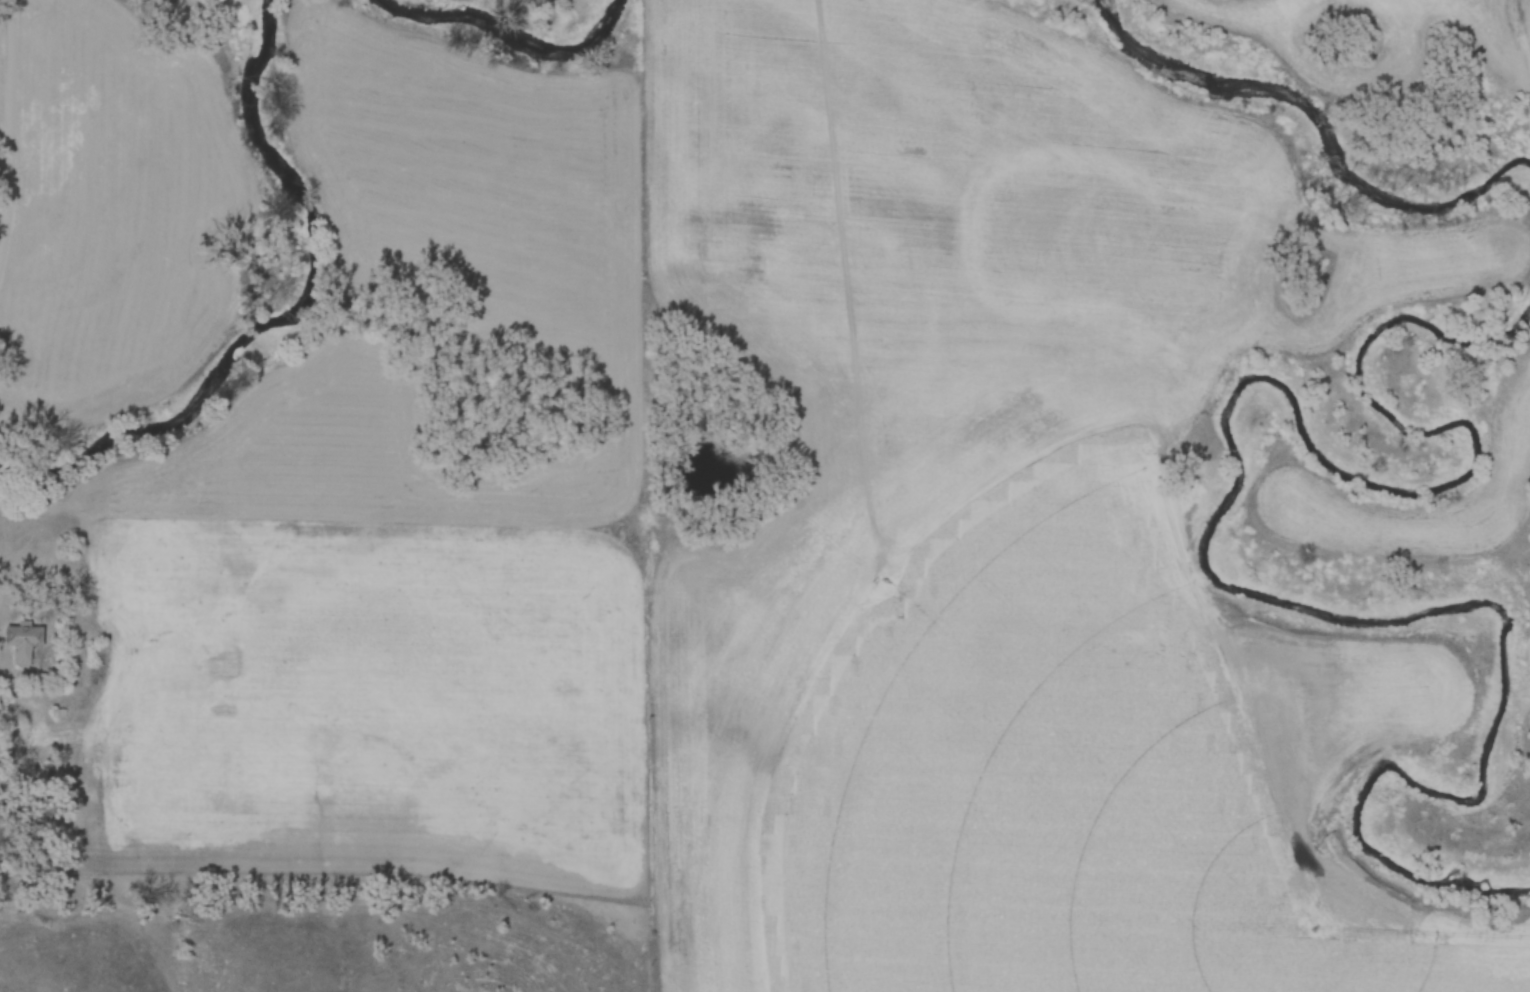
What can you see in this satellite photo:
road: (10, 131)
crop: (115, 215)
crop: (396, 523)
building: (24, 643)
road: (6, 668)
building: (40, 773)

